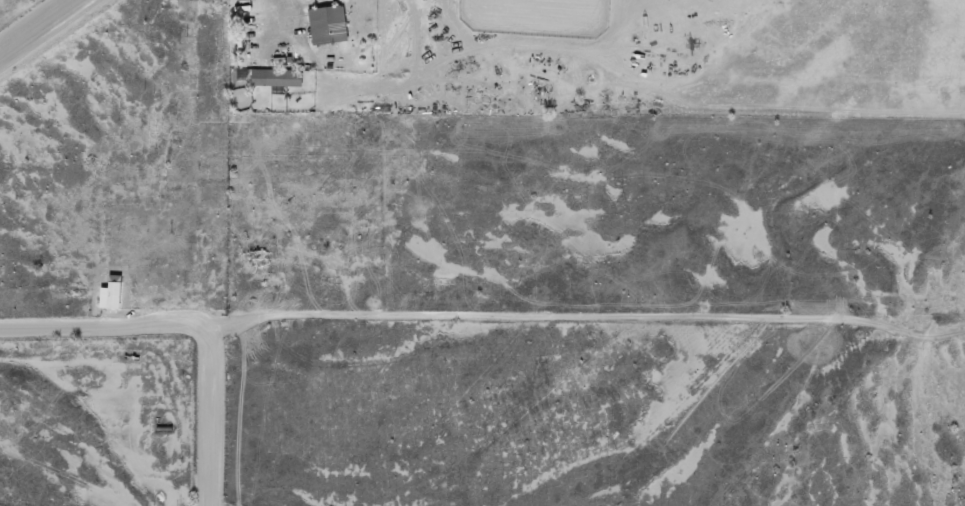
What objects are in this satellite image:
building: (326, 26)
road: (41, 28)
building: (275, 79)
building: (109, 295)
road: (482, 330)
road: (209, 415)

